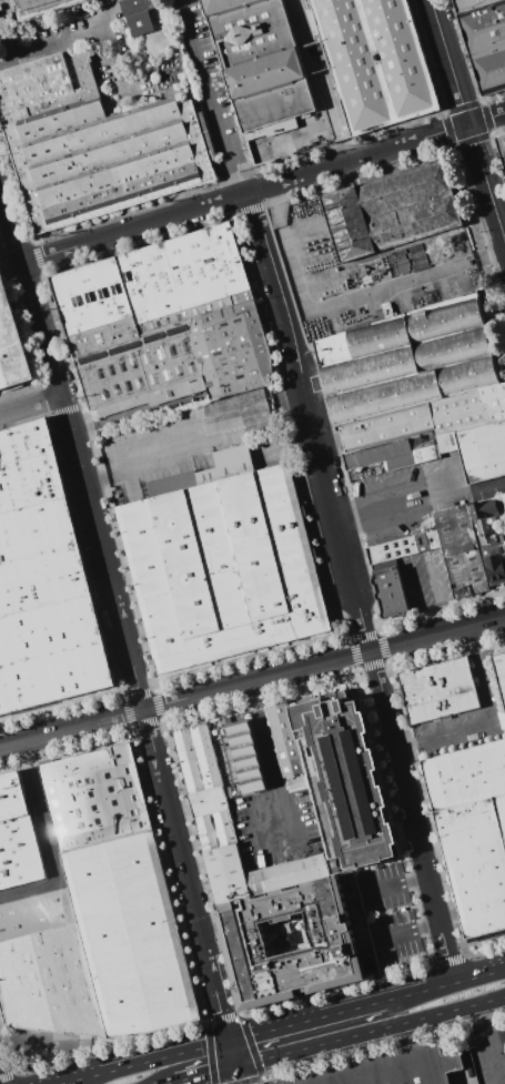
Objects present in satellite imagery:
building: (40, 6)
building: (135, 6)
building: (476, 6)
building: (139, 24)
building: (488, 44)
building: (259, 60)
building: (374, 61)
road: (446, 61)
road: (321, 91)
road: (208, 99)
road: (485, 116)
building: (94, 144)
building: (502, 148)
road: (485, 184)
road: (245, 196)
building: (391, 211)
road: (12, 223)
road: (346, 300)
building: (166, 325)
building: (11, 342)
building: (406, 359)
road: (32, 406)
building: (467, 409)
building: (386, 426)
road: (185, 450)
building: (478, 450)
building: (425, 454)
building: (382, 455)
road: (444, 490)
road: (476, 494)
building: (504, 498)
building: (488, 538)
building: (403, 547)
building: (461, 551)
building: (222, 563)
building: (44, 584)
road: (354, 588)
building: (390, 591)
road: (436, 600)
road: (130, 651)
building: (501, 672)
road: (252, 682)
building: (437, 690)
parking lot: (465, 719)
road: (492, 725)
building: (94, 797)
road: (251, 802)
building: (353, 815)
building: (472, 831)
building: (17, 835)
road: (49, 842)
road: (393, 879)
building: (36, 914)
road: (411, 916)
road: (395, 936)
building: (313, 949)
building: (103, 951)
road: (444, 985)
road: (306, 1022)
road: (370, 1032)
road: (497, 1037)
traffic signals: (229, 1043)
road: (489, 1043)
parking lot: (488, 1051)
road: (232, 1055)
road: (151, 1062)
traffic signals: (235, 1067)
building: (386, 1068)
road: (205, 1075)
road: (236, 1075)
road: (72, 1083)
road: (174, 1083)

